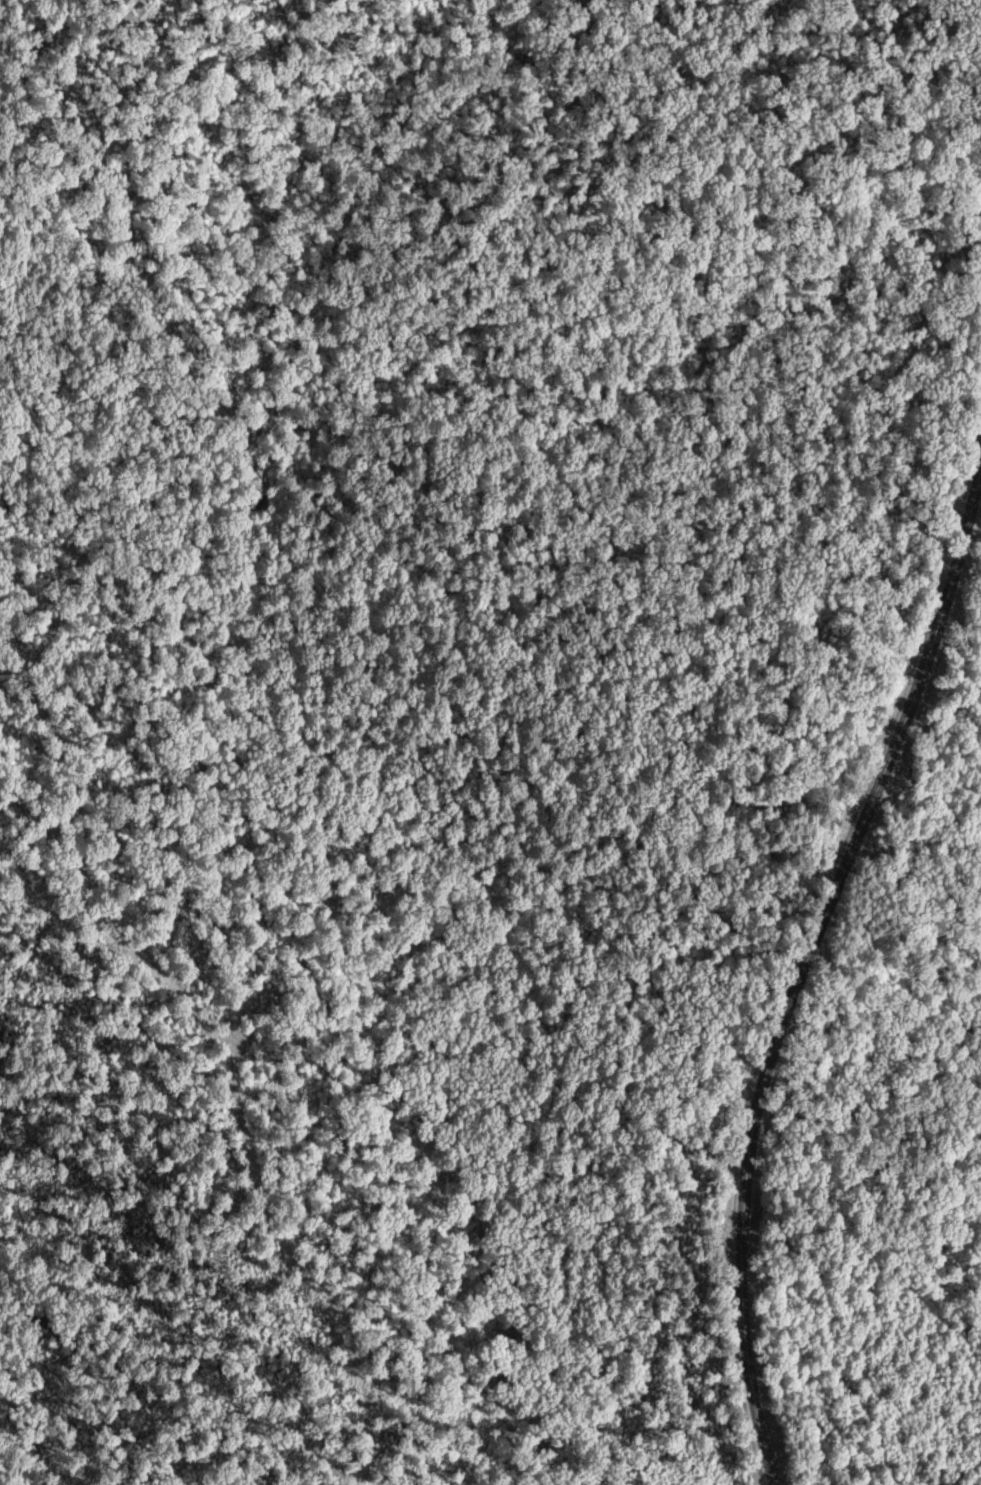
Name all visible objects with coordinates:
road: (797, 963)

